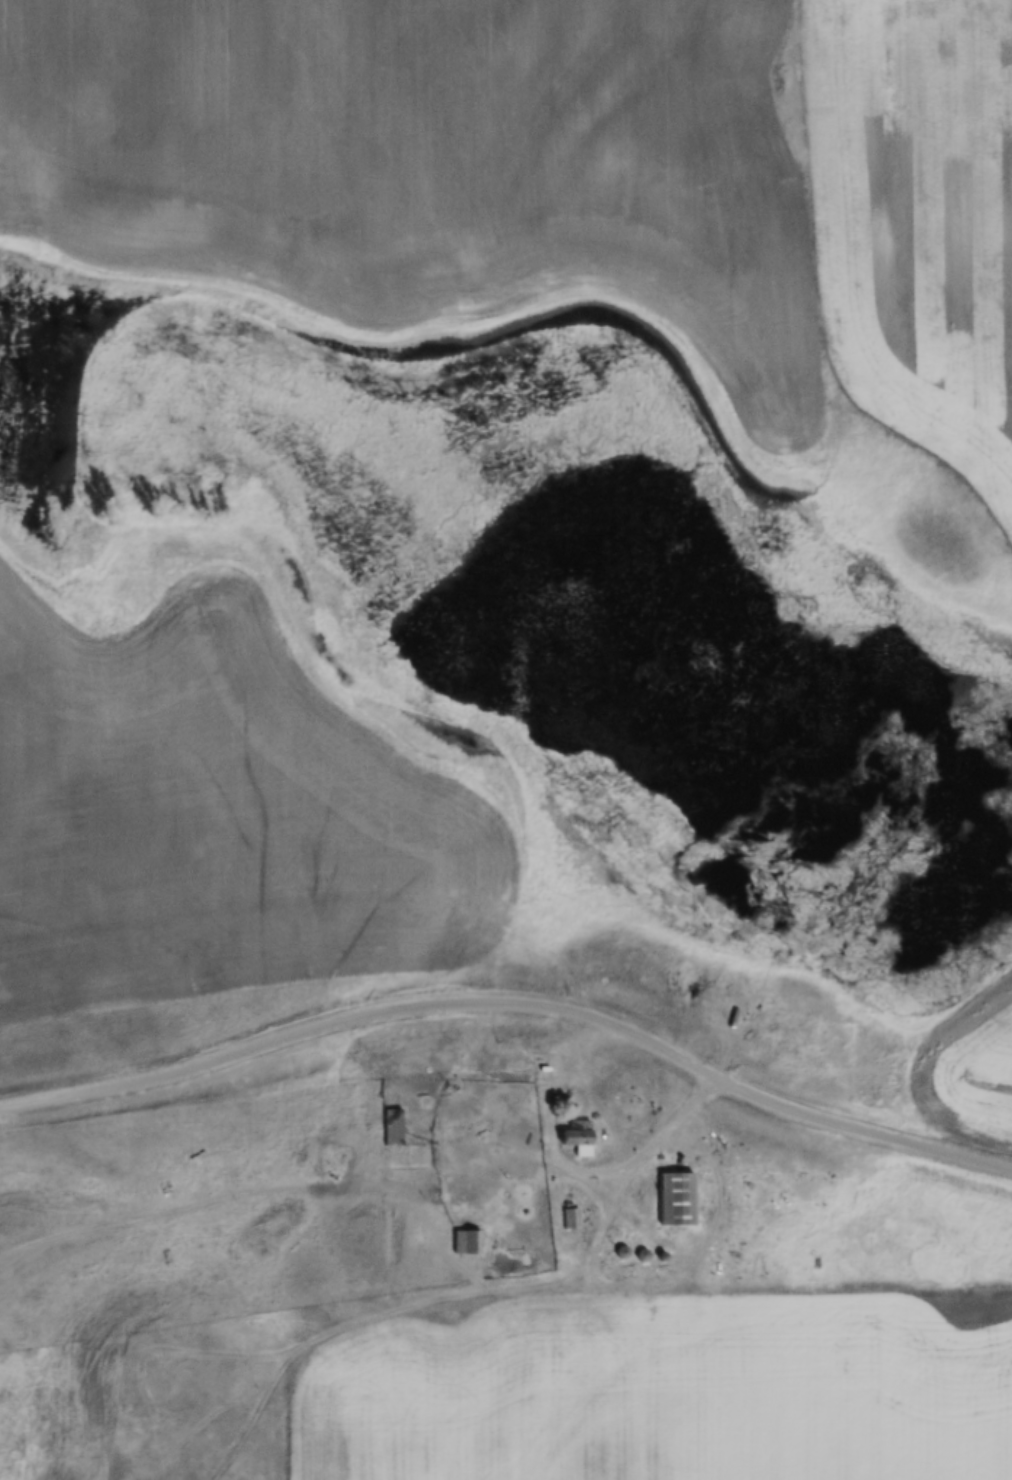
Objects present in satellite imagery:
road: (516, 999)
building: (579, 1138)
building: (404, 1151)
road: (628, 1160)
road: (247, 1193)
building: (677, 1200)
building: (571, 1219)
building: (464, 1242)
road: (419, 1299)

